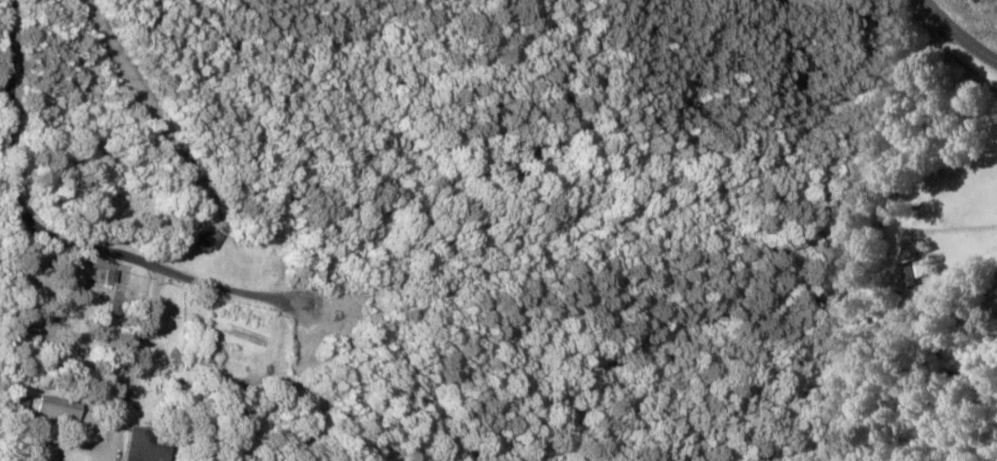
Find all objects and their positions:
road: (958, 33)
road: (2, 160)
road: (20, 207)
building: (210, 241)
building: (918, 274)
building: (61, 409)
building: (148, 446)

